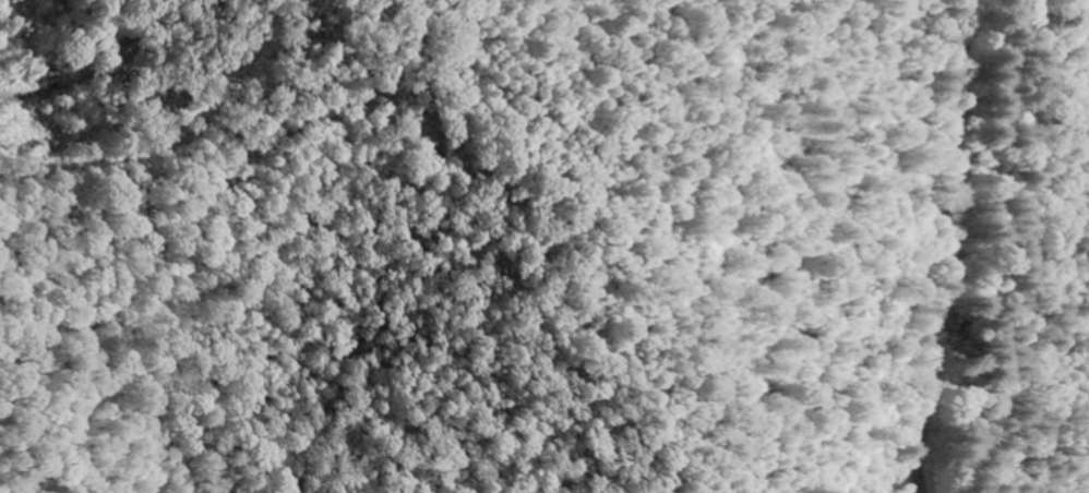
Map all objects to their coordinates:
road: (948, 246)

